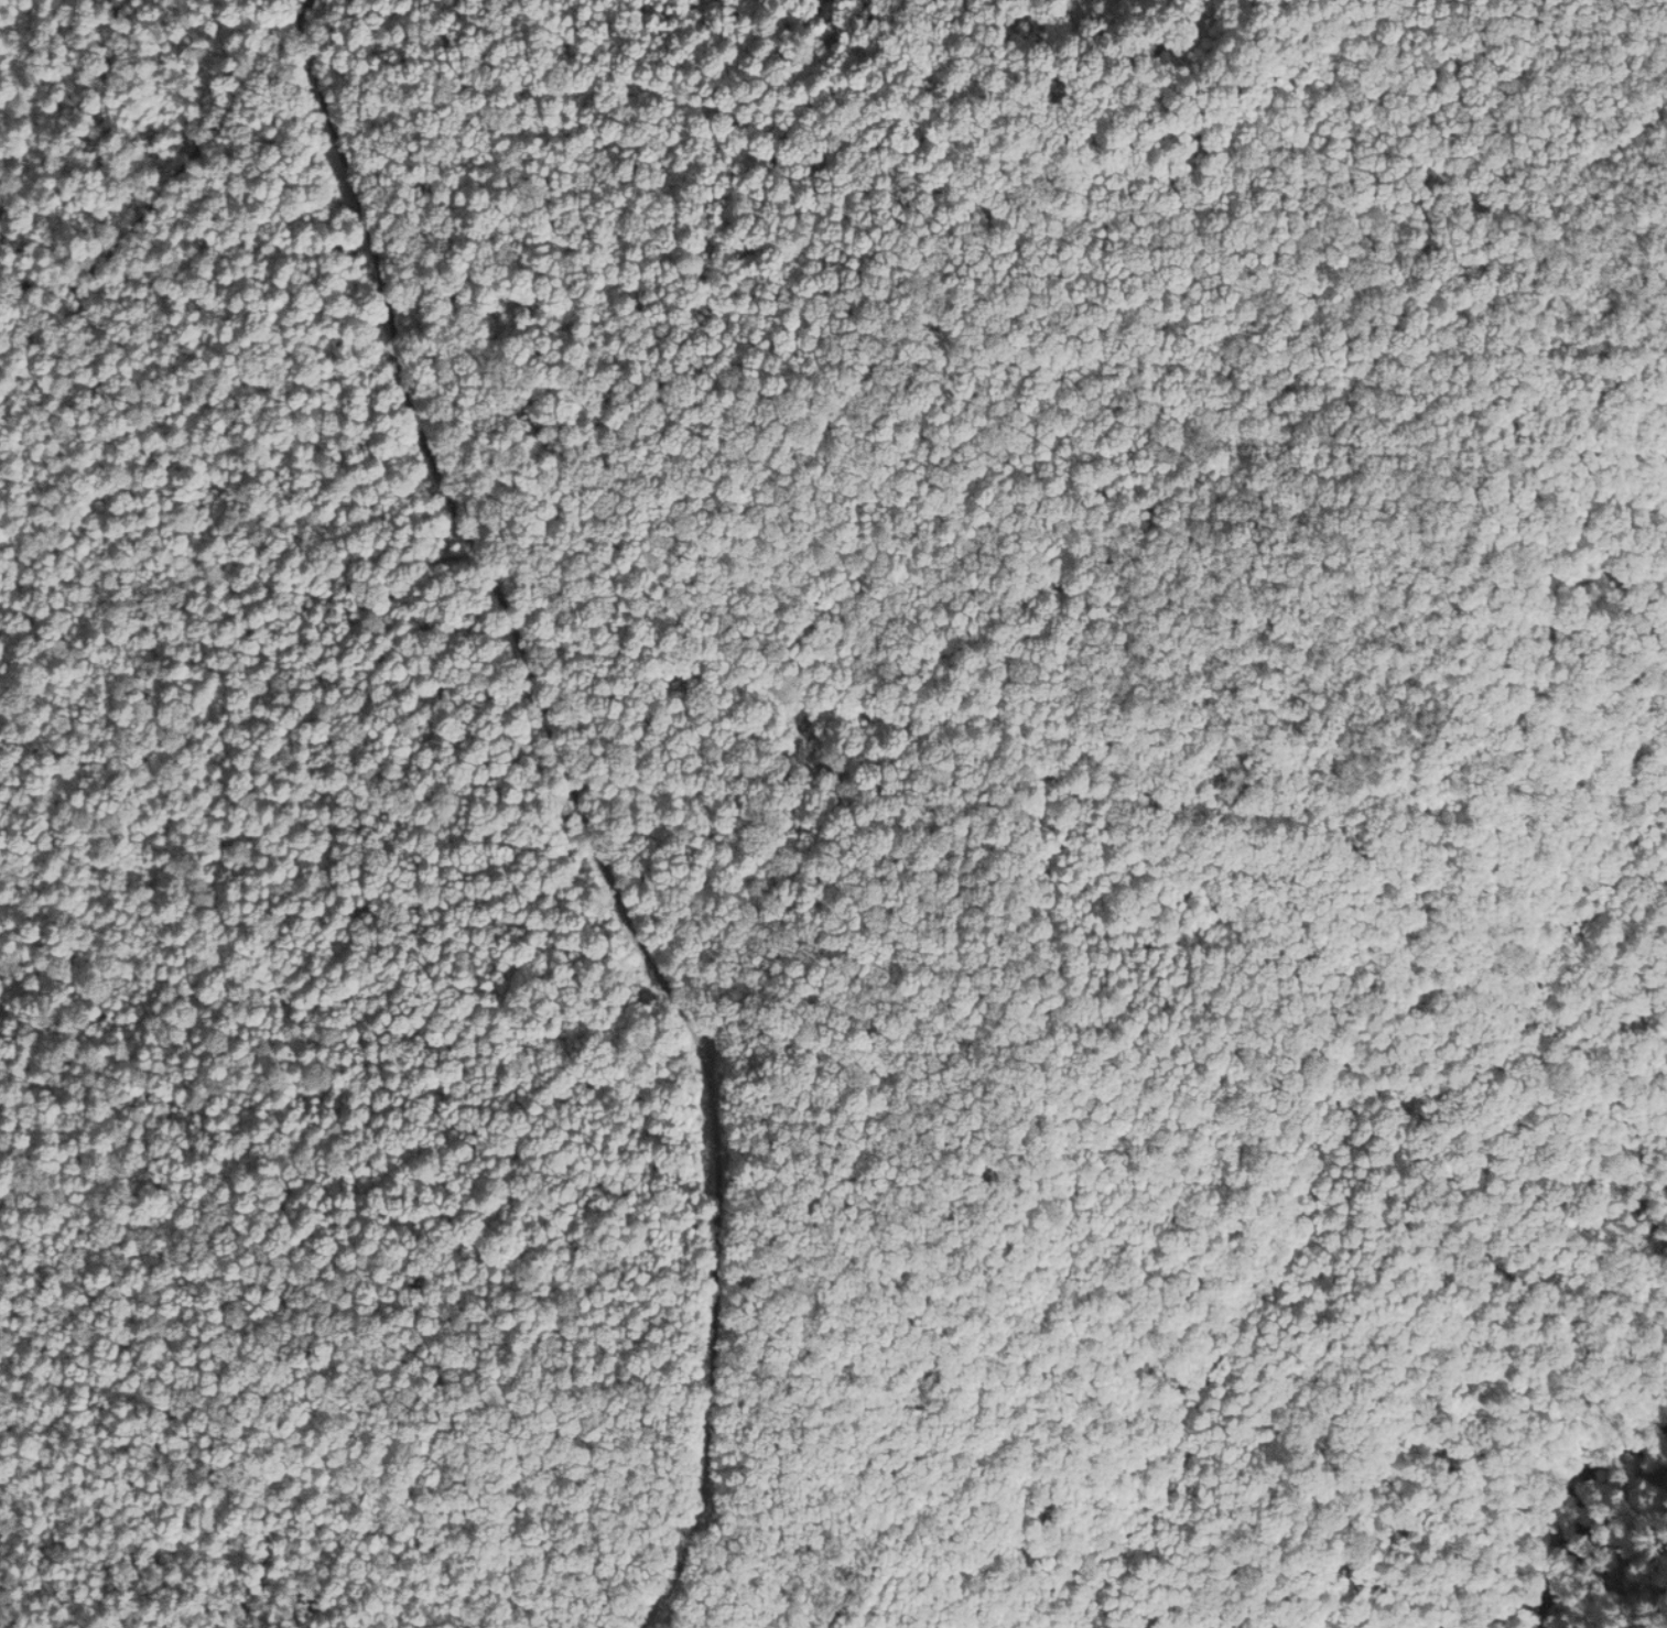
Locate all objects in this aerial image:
road: (285, 61)
road: (128, 213)

